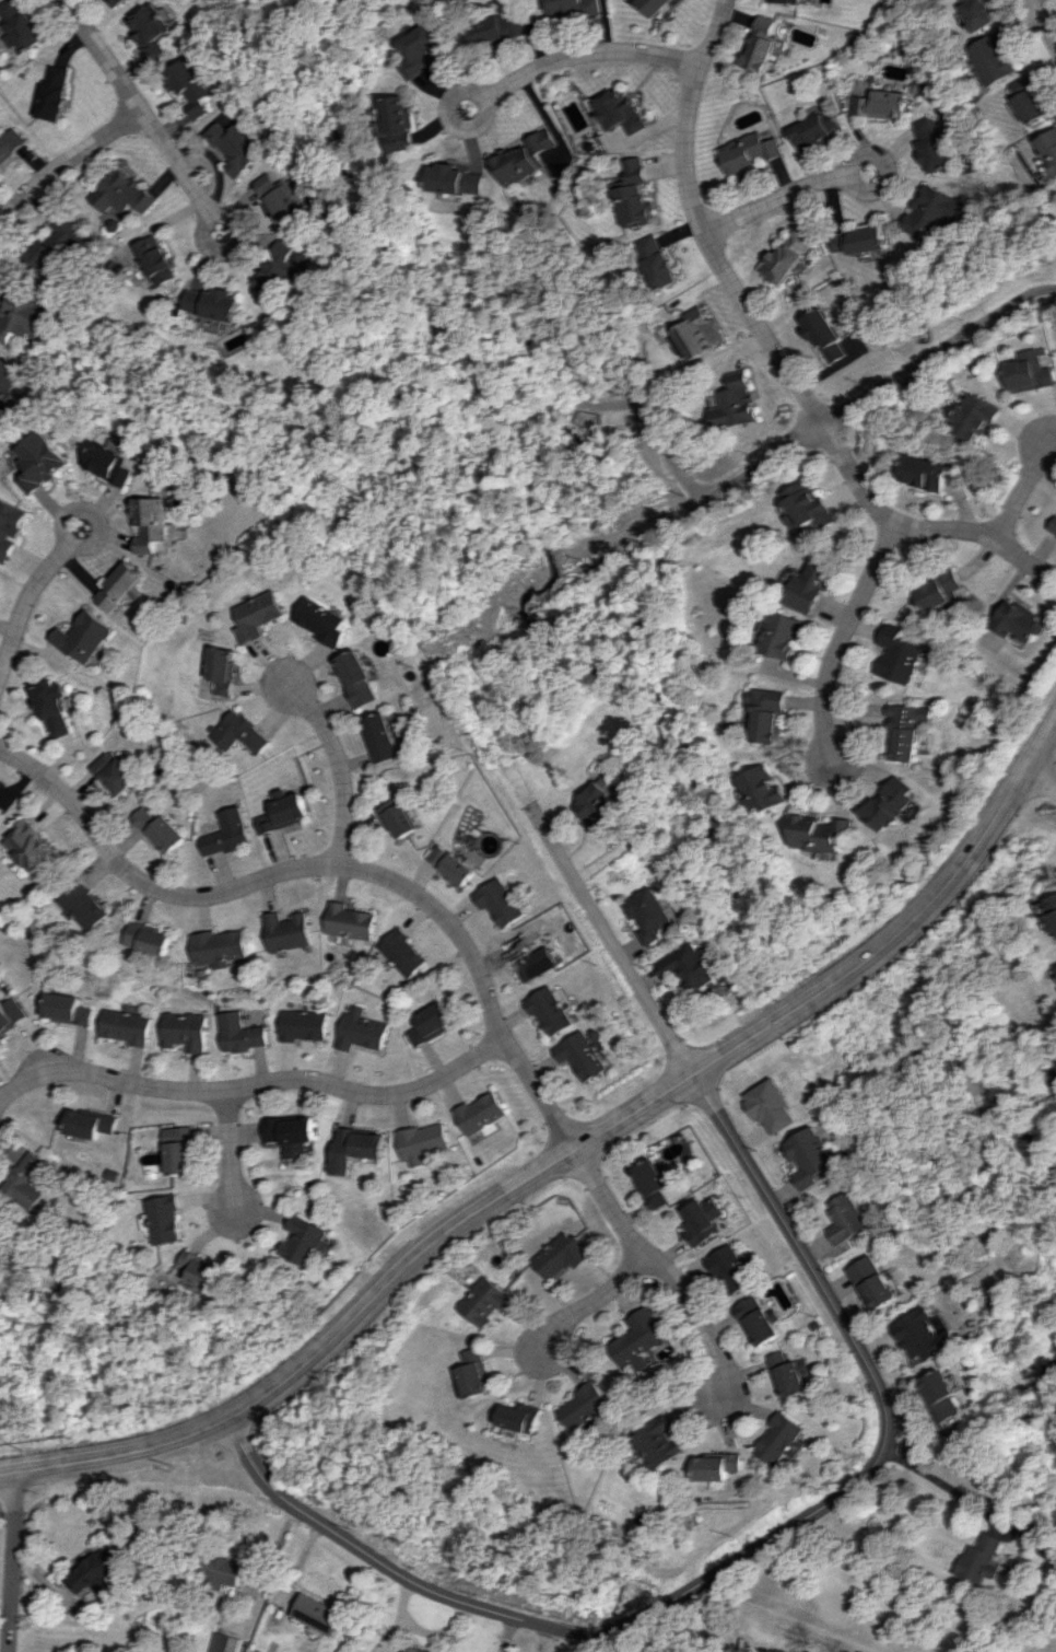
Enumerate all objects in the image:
building: (782, 0)
building: (116, 2)
building: (653, 5)
building: (574, 8)
building: (982, 13)
road: (1043, 20)
building: (146, 22)
building: (21, 25)
building: (498, 28)
building: (761, 45)
building: (155, 49)
building: (427, 50)
road: (578, 55)
building: (998, 57)
building: (188, 84)
building: (54, 92)
building: (1034, 98)
building: (882, 104)
building: (622, 110)
road: (142, 116)
building: (402, 125)
building: (814, 128)
building: (935, 143)
building: (10, 144)
building: (1048, 144)
building: (234, 146)
building: (750, 152)
building: (528, 156)
road: (60, 164)
building: (460, 179)
building: (122, 193)
building: (636, 193)
road: (787, 196)
building: (280, 199)
building: (937, 211)
road: (703, 225)
building: (864, 240)
building: (59, 244)
building: (791, 256)
building: (159, 259)
building: (661, 260)
building: (286, 271)
building: (215, 302)
building: (27, 315)
building: (703, 333)
building: (826, 335)
road: (937, 352)
building: (1032, 370)
building: (9, 380)
building: (737, 403)
building: (977, 417)
road: (665, 444)
building: (42, 461)
road: (765, 462)
building: (110, 464)
building: (927, 472)
road: (1023, 489)
building: (811, 504)
building: (152, 523)
building: (10, 525)
building: (1053, 526)
road: (917, 527)
road: (1051, 581)
building: (120, 586)
building: (812, 587)
road: (27, 589)
building: (942, 589)
building: (260, 615)
building: (1019, 620)
building: (326, 621)
building: (785, 635)
building: (81, 637)
road: (841, 638)
building: (899, 654)
building: (223, 668)
building: (359, 678)
building: (50, 708)
building: (771, 713)
building: (907, 731)
building: (237, 733)
building: (380, 737)
road: (336, 763)
road: (1044, 770)
building: (114, 771)
building: (765, 789)
building: (893, 803)
building: (600, 806)
building: (281, 811)
building: (398, 816)
building: (159, 829)
building: (225, 833)
building: (824, 833)
building: (32, 847)
road: (633, 847)
building: (453, 863)
building: (501, 901)
building: (85, 904)
building: (1051, 911)
building: (649, 914)
building: (348, 921)
building: (285, 931)
road: (905, 932)
building: (149, 939)
road: (462, 939)
road: (611, 941)
building: (219, 947)
building: (400, 952)
building: (530, 957)
building: (690, 966)
building: (69, 1009)
building: (550, 1011)
building: (12, 1015)
building: (427, 1023)
building: (303, 1024)
building: (127, 1026)
building: (359, 1029)
building: (185, 1031)
building: (239, 1033)
building: (579, 1055)
road: (48, 1066)
road: (251, 1084)
building: (768, 1105)
building: (478, 1114)
building: (93, 1122)
building: (293, 1133)
building: (422, 1142)
building: (357, 1148)
building: (181, 1150)
road: (234, 1152)
building: (808, 1156)
building: (32, 1179)
building: (648, 1183)
building: (845, 1218)
building: (168, 1219)
building: (701, 1220)
building: (307, 1241)
building: (559, 1255)
building: (728, 1269)
building: (209, 1270)
building: (872, 1282)
building: (485, 1301)
road: (583, 1305)
road: (362, 1314)
building: (756, 1319)
building: (923, 1336)
building: (637, 1337)
building: (479, 1373)
building: (789, 1373)
building: (942, 1396)
building: (587, 1406)
building: (526, 1417)
building: (783, 1439)
building: (661, 1442)
building: (723, 1466)
road: (950, 1487)
building: (1035, 1529)
road: (742, 1556)
building: (985, 1558)
road: (10, 1561)
building: (218, 1571)
building: (92, 1573)
building: (314, 1614)
building: (220, 1642)
building: (409, 1650)

